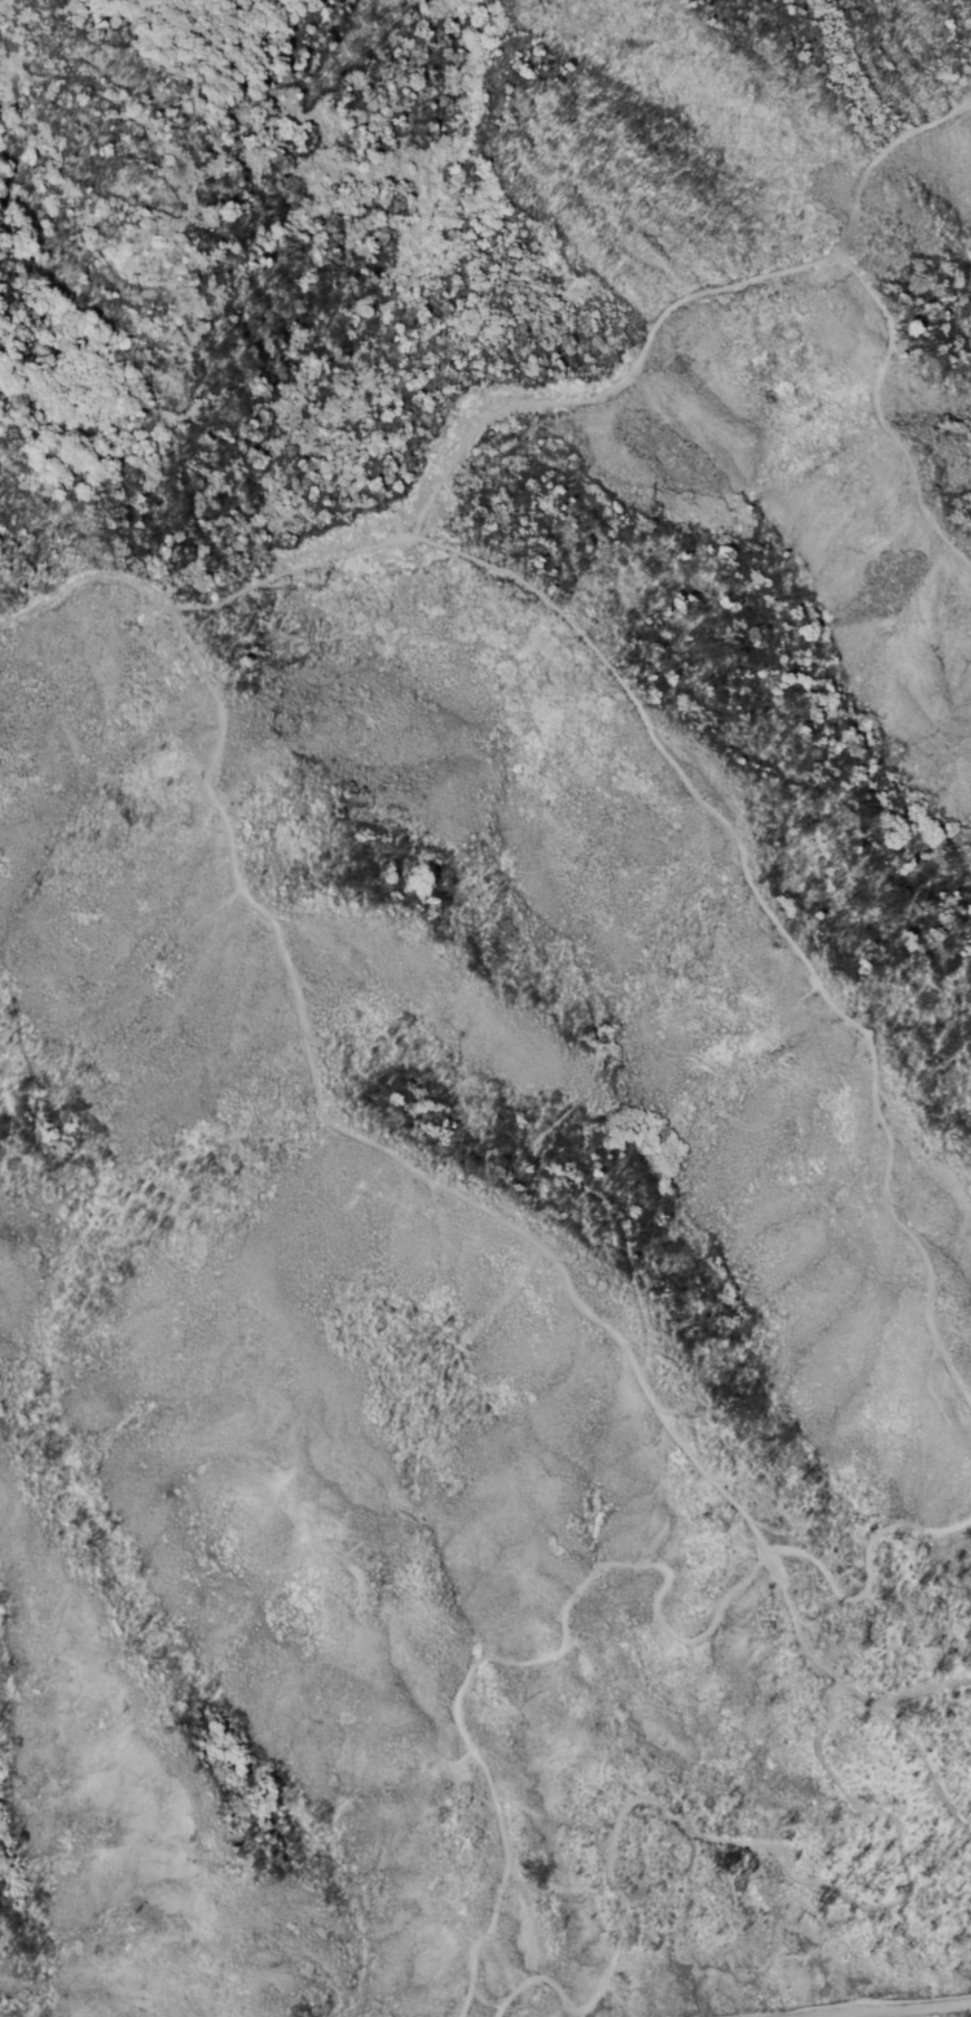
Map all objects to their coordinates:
road: (880, 156)
road: (877, 419)
road: (439, 495)
road: (775, 921)
road: (637, 1007)
road: (303, 1055)
road: (679, 1442)
road: (601, 1570)
road: (836, 1678)
road: (921, 1696)
road: (744, 1846)
road: (882, 2010)
road: (576, 2016)

